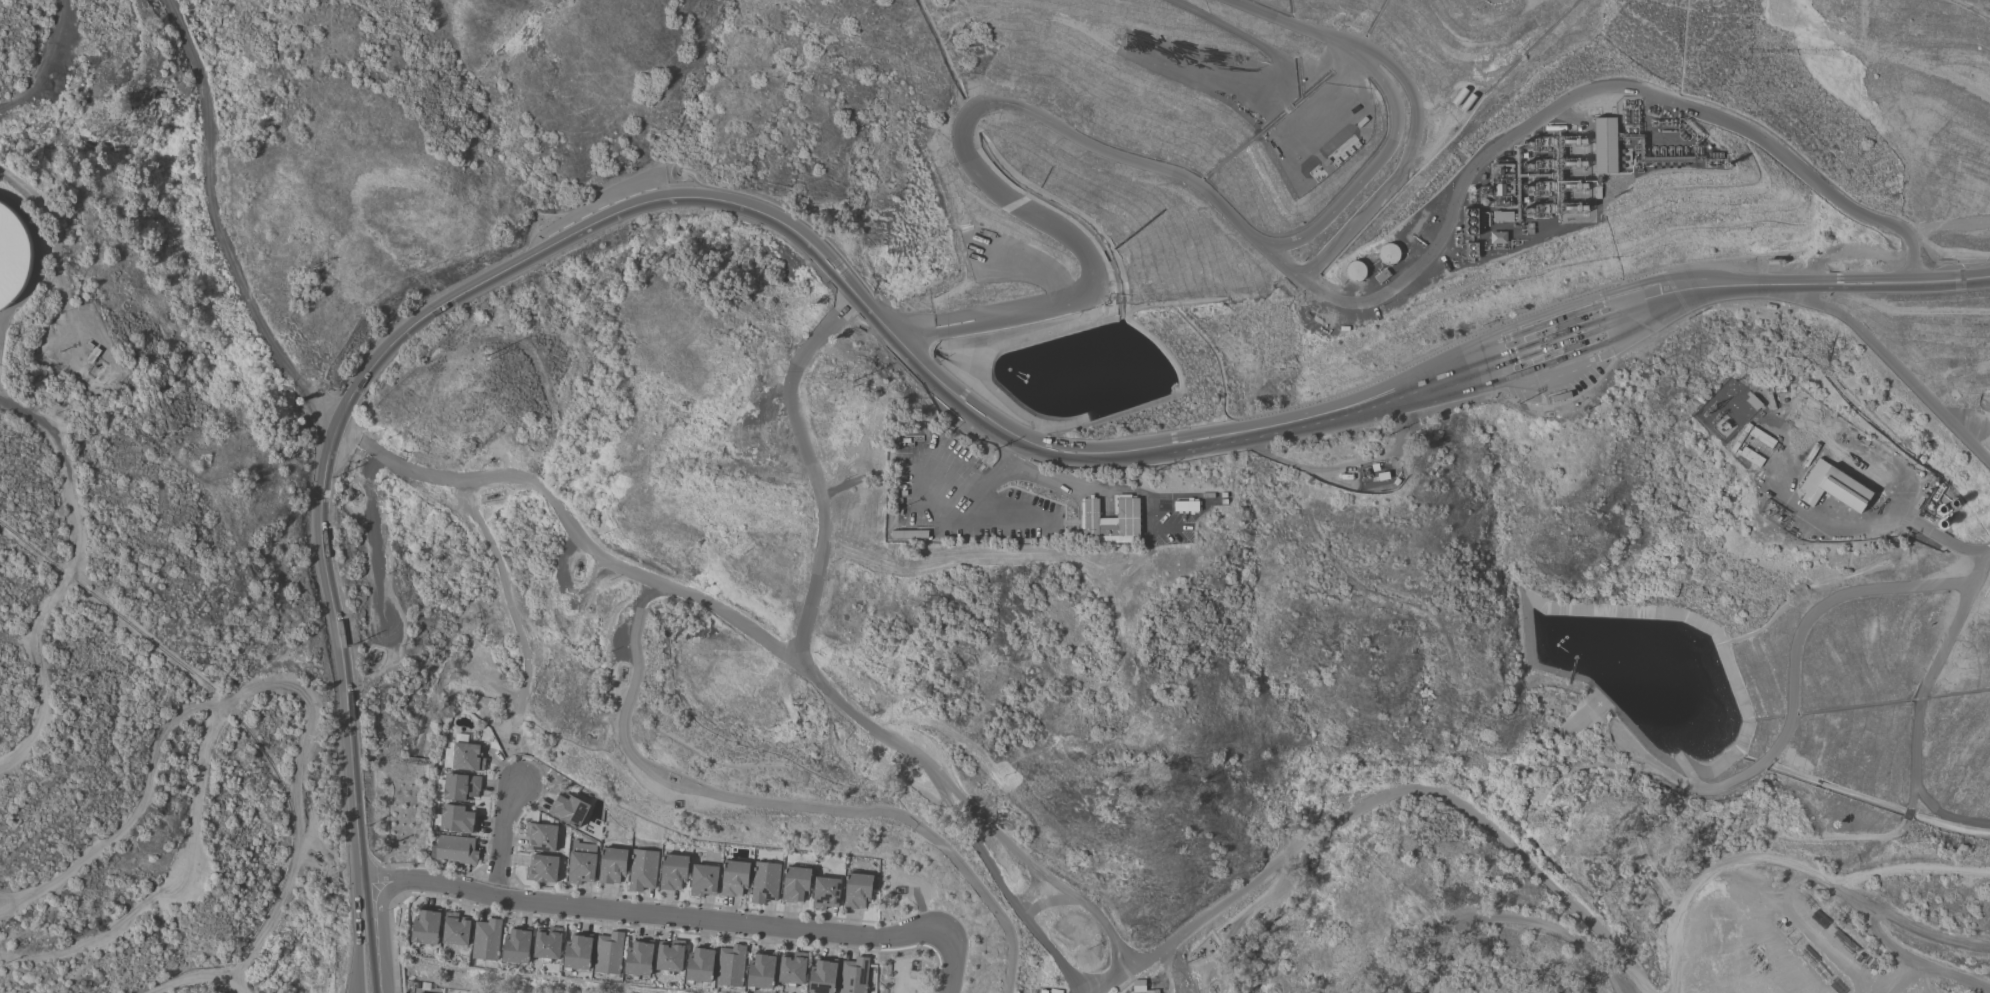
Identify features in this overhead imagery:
road: (44, 64)
road: (1576, 96)
building: (1604, 145)
road: (1108, 151)
road: (1402, 166)
building: (1502, 182)
road: (702, 200)
road: (218, 224)
building: (1497, 237)
building: (1388, 254)
storage tank: (1388, 254)
building: (22, 258)
storage tank: (22, 258)
building: (1355, 271)
storage tank: (1355, 271)
road: (1821, 284)
road: (1550, 312)
road: (1554, 321)
building: (1568, 324)
road: (1642, 329)
road: (1560, 333)
road: (1564, 342)
building: (1571, 347)
road: (1569, 355)
road: (1892, 364)
road: (1542, 376)
building: (1560, 397)
landfill: (1542, 419)
landfill: (1687, 419)
road: (1247, 433)
road: (933, 449)
road: (1011, 450)
building: (1751, 457)
road: (995, 474)
building: (1832, 487)
road: (1111, 489)
petroleum well: (352, 493)
road: (980, 495)
petroleum well: (490, 496)
road: (939, 505)
building: (1187, 507)
road: (967, 513)
road: (1012, 513)
building: (1128, 517)
road: (573, 528)
road: (376, 538)
petroleum well: (578, 570)
road: (508, 597)
road: (336, 633)
petroleum well: (375, 659)
petroleum well: (620, 671)
road: (814, 678)
road: (1918, 716)
road: (528, 756)
building: (468, 757)
building: (461, 787)
road: (1385, 794)
road: (779, 804)
building: (568, 810)
building: (457, 820)
road: (502, 833)
building: (542, 837)
building: (581, 847)
building: (456, 850)
petroleum well: (315, 857)
building: (612, 866)
road: (1792, 867)
building: (581, 868)
road: (1906, 868)
building: (542, 869)
road: (1038, 869)
building: (642, 870)
building: (673, 872)
building: (734, 878)
road: (494, 881)
building: (703, 881)
building: (765, 883)
building: (795, 884)
building: (857, 891)
building: (825, 894)
road: (695, 903)
road: (652, 915)
road: (1517, 918)
building: (426, 929)
building: (455, 929)
road: (686, 932)
road: (379, 936)
road: (359, 937)
building: (487, 940)
building: (547, 945)
building: (516, 947)
building: (578, 953)
building: (609, 953)
building: (669, 957)
building: (639, 959)
road: (953, 960)
road: (1417, 965)
road: (1925, 965)
building: (700, 967)
building: (731, 967)
building: (793, 970)
building: (761, 972)
building: (854, 976)
building: (823, 977)
building: (1139, 987)
petroleum well: (1214, 988)
building: (1043, 991)
building: (1055, 991)

